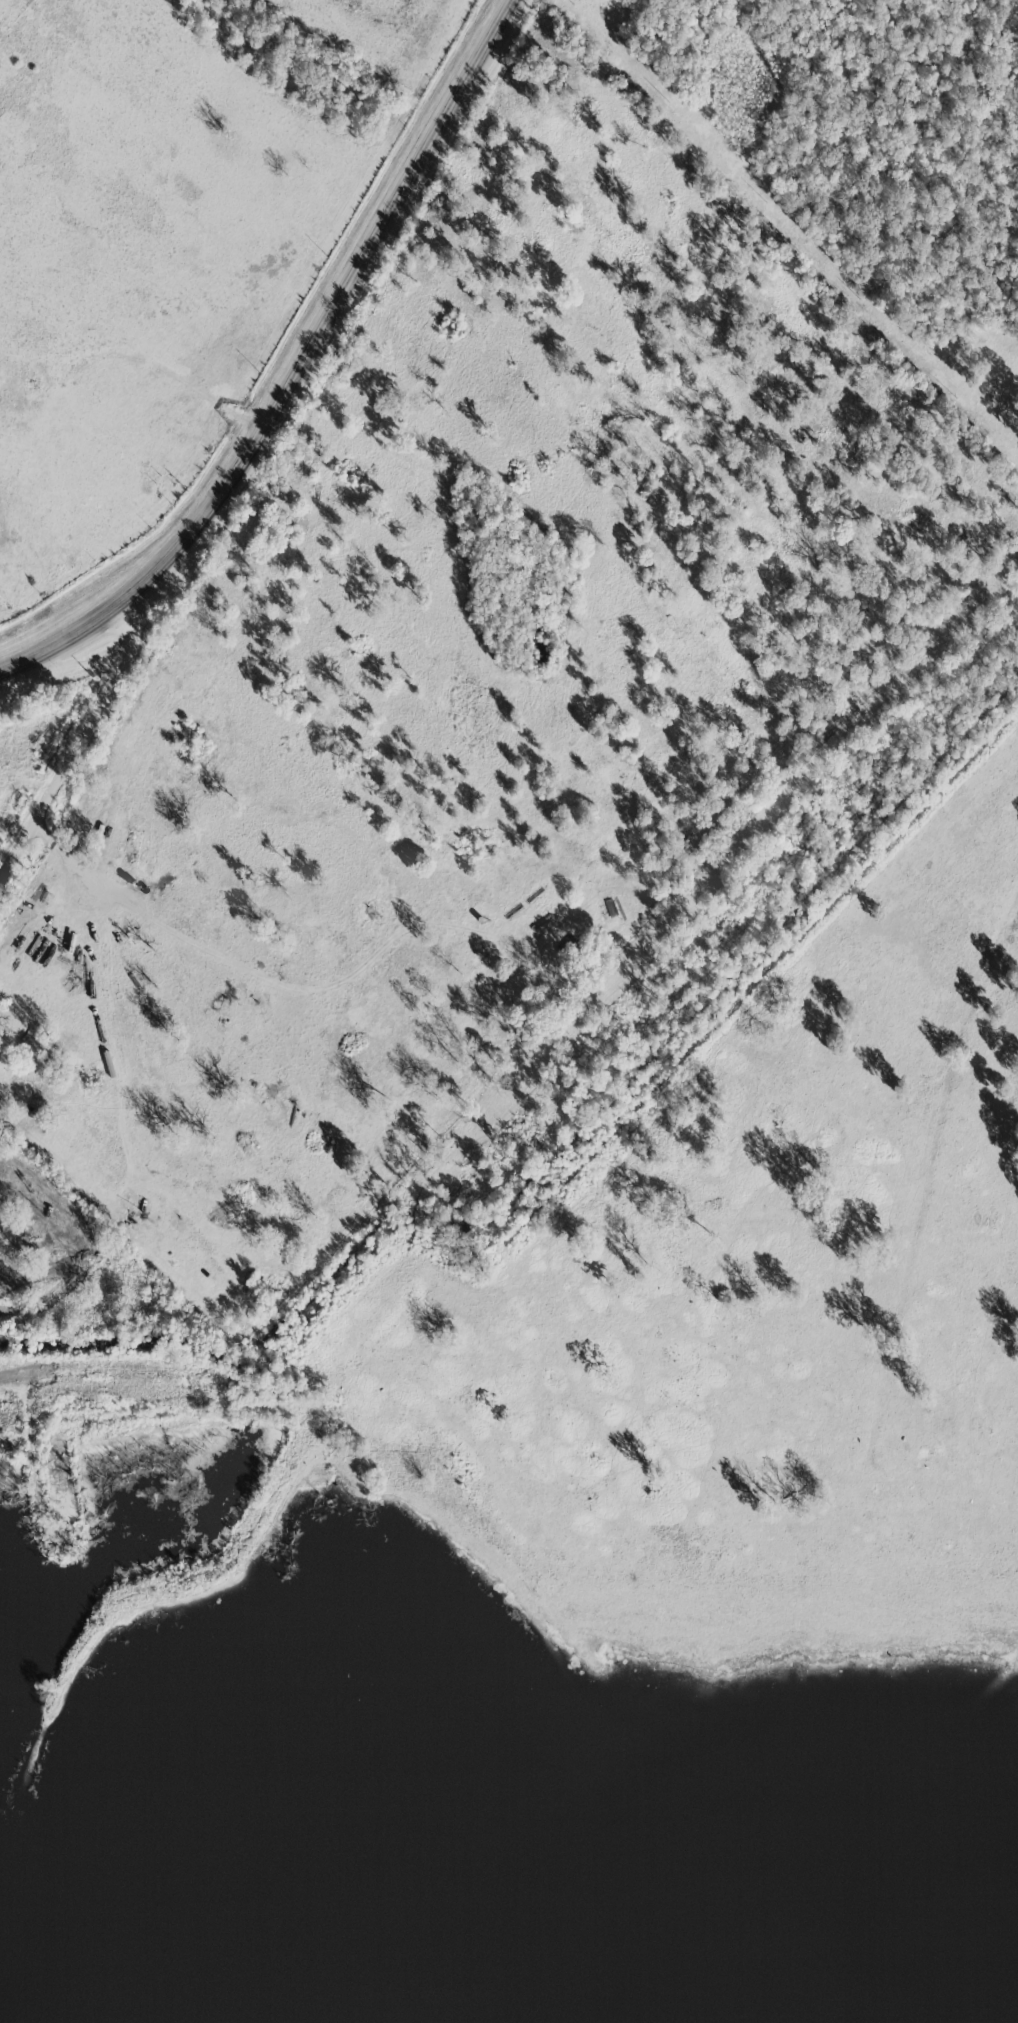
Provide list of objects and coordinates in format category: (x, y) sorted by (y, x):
road: (294, 371)
road: (83, 747)
road: (177, 933)
road: (1, 1043)

